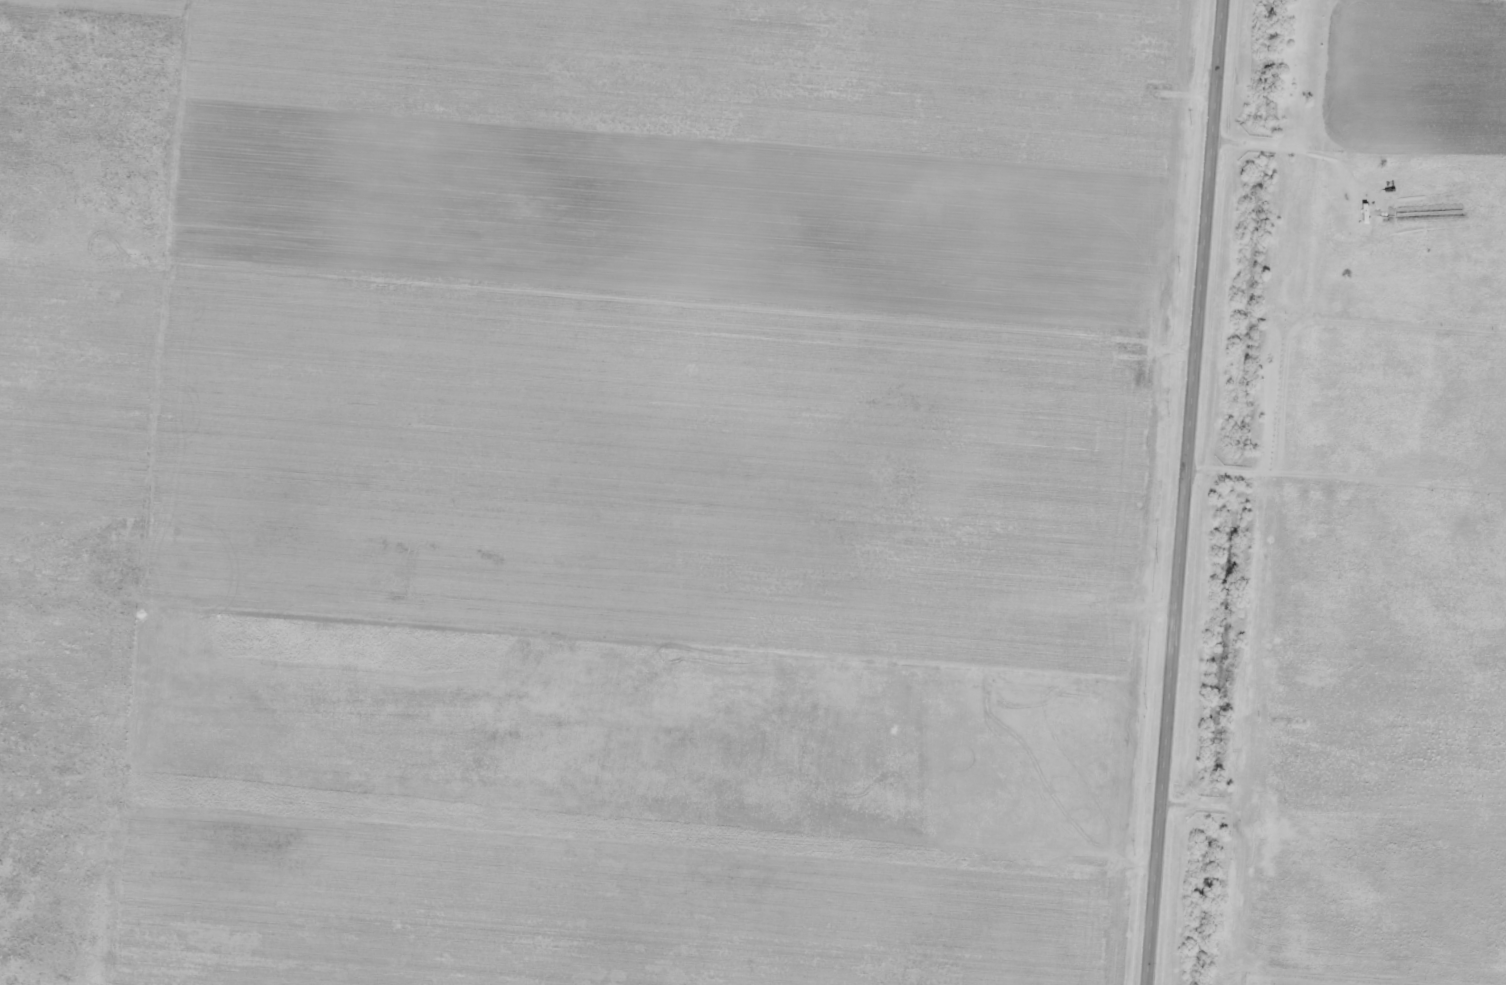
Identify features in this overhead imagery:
road: (1183, 492)

